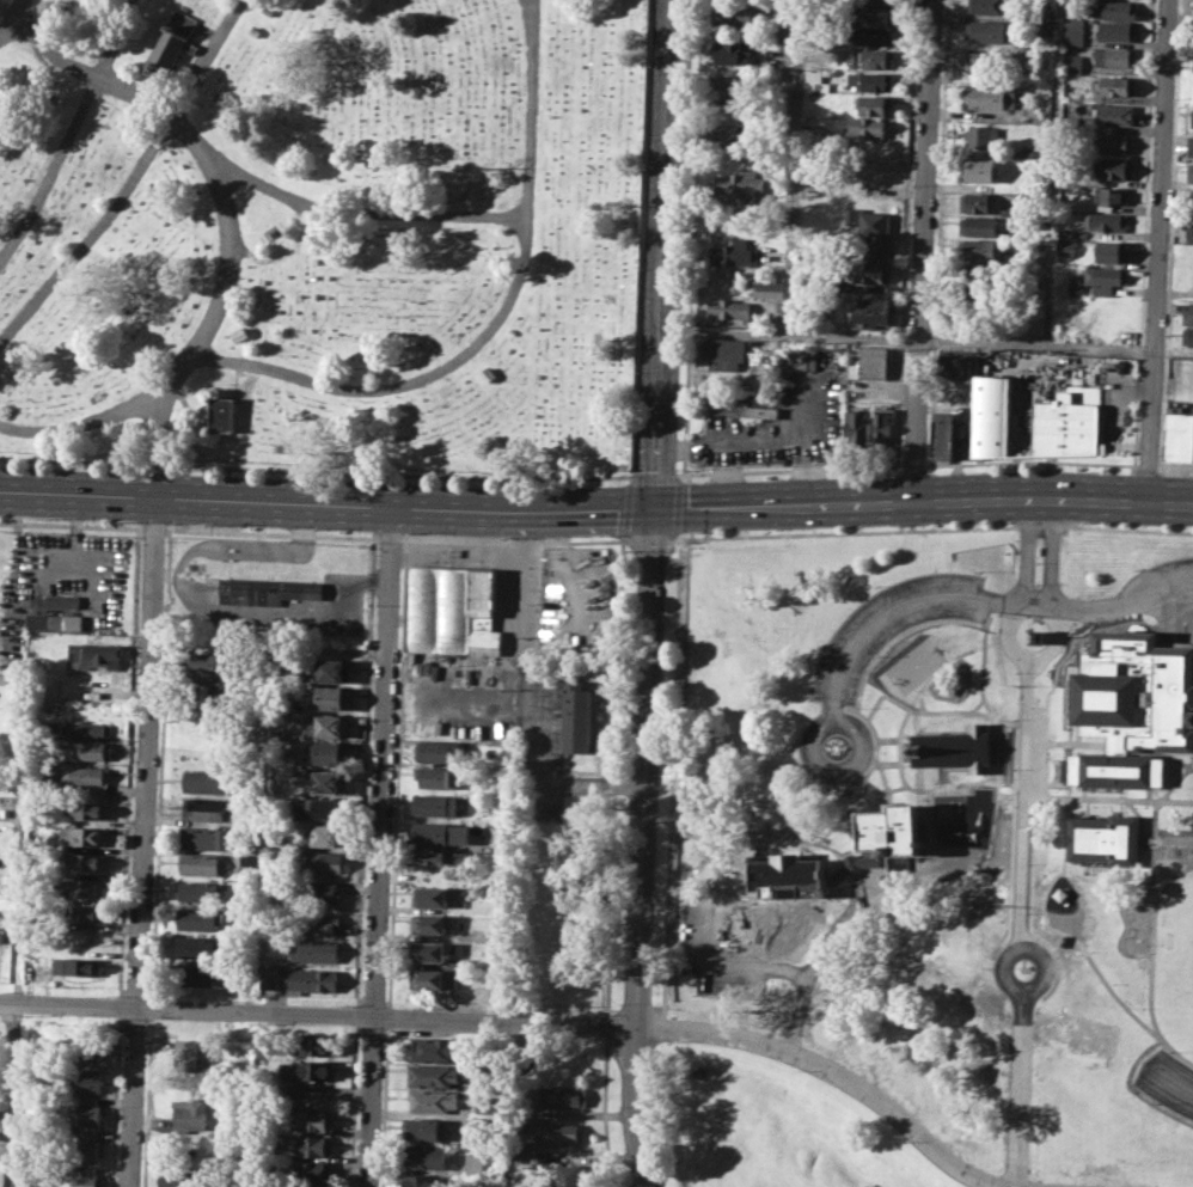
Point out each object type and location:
building: (876, 1)
building: (989, 6)
road: (14, 7)
building: (1114, 8)
building: (736, 13)
road: (527, 16)
building: (871, 18)
building: (1042, 22)
building: (989, 31)
building: (1073, 31)
building: (1114, 31)
building: (783, 33)
building: (874, 36)
building: (171, 44)
building: (733, 53)
building: (868, 56)
building: (1116, 56)
building: (986, 61)
building: (1071, 63)
building: (813, 73)
building: (869, 80)
building: (732, 84)
building: (1115, 85)
building: (825, 86)
building: (983, 98)
building: (873, 104)
building: (730, 108)
building: (1114, 114)
building: (1192, 117)
building: (867, 128)
road: (69, 133)
building: (732, 135)
building: (979, 135)
building: (1111, 142)
building: (1189, 146)
building: (1113, 167)
building: (979, 170)
road: (1051, 171)
building: (1191, 172)
road: (133, 179)
building: (741, 183)
building: (1109, 195)
road: (225, 201)
building: (1191, 201)
building: (974, 202)
road: (363, 212)
building: (868, 221)
building: (1102, 221)
building: (978, 226)
road: (790, 230)
building: (1063, 232)
building: (1189, 233)
park: (324, 237)
building: (1064, 245)
building: (869, 246)
road: (922, 247)
building: (977, 249)
road: (1157, 249)
building: (1109, 250)
building: (735, 252)
building: (867, 270)
building: (975, 274)
building: (1103, 279)
building: (767, 286)
building: (868, 310)
building: (726, 311)
building: (1187, 314)
building: (1187, 336)
road: (969, 342)
building: (721, 353)
building: (867, 362)
building: (955, 362)
road: (406, 381)
building: (763, 411)
building: (221, 414)
building: (990, 415)
building: (1069, 422)
building: (854, 424)
building: (881, 426)
building: (942, 434)
building: (1179, 434)
road: (757, 446)
road: (596, 507)
traffic signals: (655, 507)
road: (71, 524)
road: (1041, 525)
road: (151, 527)
road: (1128, 528)
road: (844, 531)
road: (270, 533)
road: (389, 537)
road: (648, 539)
road: (510, 542)
road: (1052, 550)
road: (1026, 551)
parking lot: (1158, 582)
building: (264, 589)
road: (651, 594)
road: (977, 599)
building: (60, 600)
building: (452, 610)
road: (1038, 612)
building: (42, 620)
building: (69, 622)
parking lot: (891, 625)
building: (1034, 636)
road: (1030, 653)
road: (1056, 653)
building: (92, 655)
road: (873, 659)
road: (983, 659)
building: (207, 665)
building: (332, 669)
road: (1029, 678)
road: (1036, 679)
building: (214, 696)
building: (331, 698)
road: (920, 702)
road: (975, 704)
building: (1131, 704)
road: (954, 710)
road: (1047, 712)
building: (577, 717)
building: (326, 724)
building: (84, 730)
road: (874, 740)
road: (1062, 746)
building: (955, 748)
building: (91, 749)
building: (436, 749)
building: (330, 753)
road: (1176, 757)
road: (874, 760)
road: (1005, 760)
road: (850, 765)
road: (900, 770)
building: (86, 775)
road: (883, 776)
building: (436, 777)
road: (1176, 778)
building: (207, 781)
building: (329, 782)
road: (1089, 797)
road: (1168, 800)
building: (434, 804)
building: (326, 807)
building: (202, 808)
road: (926, 808)
building: (87, 809)
building: (892, 828)
road: (1154, 830)
building: (440, 833)
building: (84, 834)
building: (328, 836)
building: (206, 837)
building: (1103, 838)
road: (141, 839)
road: (1177, 839)
parking lot: (1174, 842)
road: (778, 843)
road: (1032, 843)
road: (379, 845)
road: (726, 852)
building: (440, 856)
road: (848, 857)
building: (247, 859)
building: (85, 861)
building: (319, 861)
building: (201, 863)
building: (788, 869)
road: (738, 876)
road: (1167, 880)
building: (80, 887)
building: (200, 889)
building: (318, 892)
building: (430, 897)
road: (735, 903)
road: (1029, 903)
building: (789, 904)
building: (85, 913)
building: (197, 918)
building: (317, 922)
building: (429, 923)
building: (84, 940)
parking lot: (717, 944)
building: (197, 947)
building: (314, 950)
building: (428, 950)
road: (1150, 950)
building: (460, 962)
building: (78, 965)
road: (726, 965)
road: (815, 965)
building: (196, 974)
building: (269, 975)
building: (434, 979)
building: (310, 980)
road: (317, 1012)
building: (319, 1045)
building: (93, 1046)
building: (433, 1048)
building: (188, 1053)
building: (304, 1073)
road: (836, 1073)
building: (432, 1075)
road: (1018, 1077)
parking lot: (1168, 1079)
building: (91, 1081)
road: (1170, 1081)
road: (11, 1094)
building: (559, 1095)
road: (602, 1097)
building: (433, 1101)
building: (90, 1112)
building: (190, 1113)
building: (314, 1120)
park: (769, 1126)
building: (420, 1127)
building: (557, 1132)
building: (90, 1145)
building: (312, 1146)
building: (424, 1156)
building: (472, 1162)
building: (311, 1170)
building: (562, 1175)
building: (181, 1176)
building: (87, 1180)
building: (420, 1180)
building: (305, 1186)

